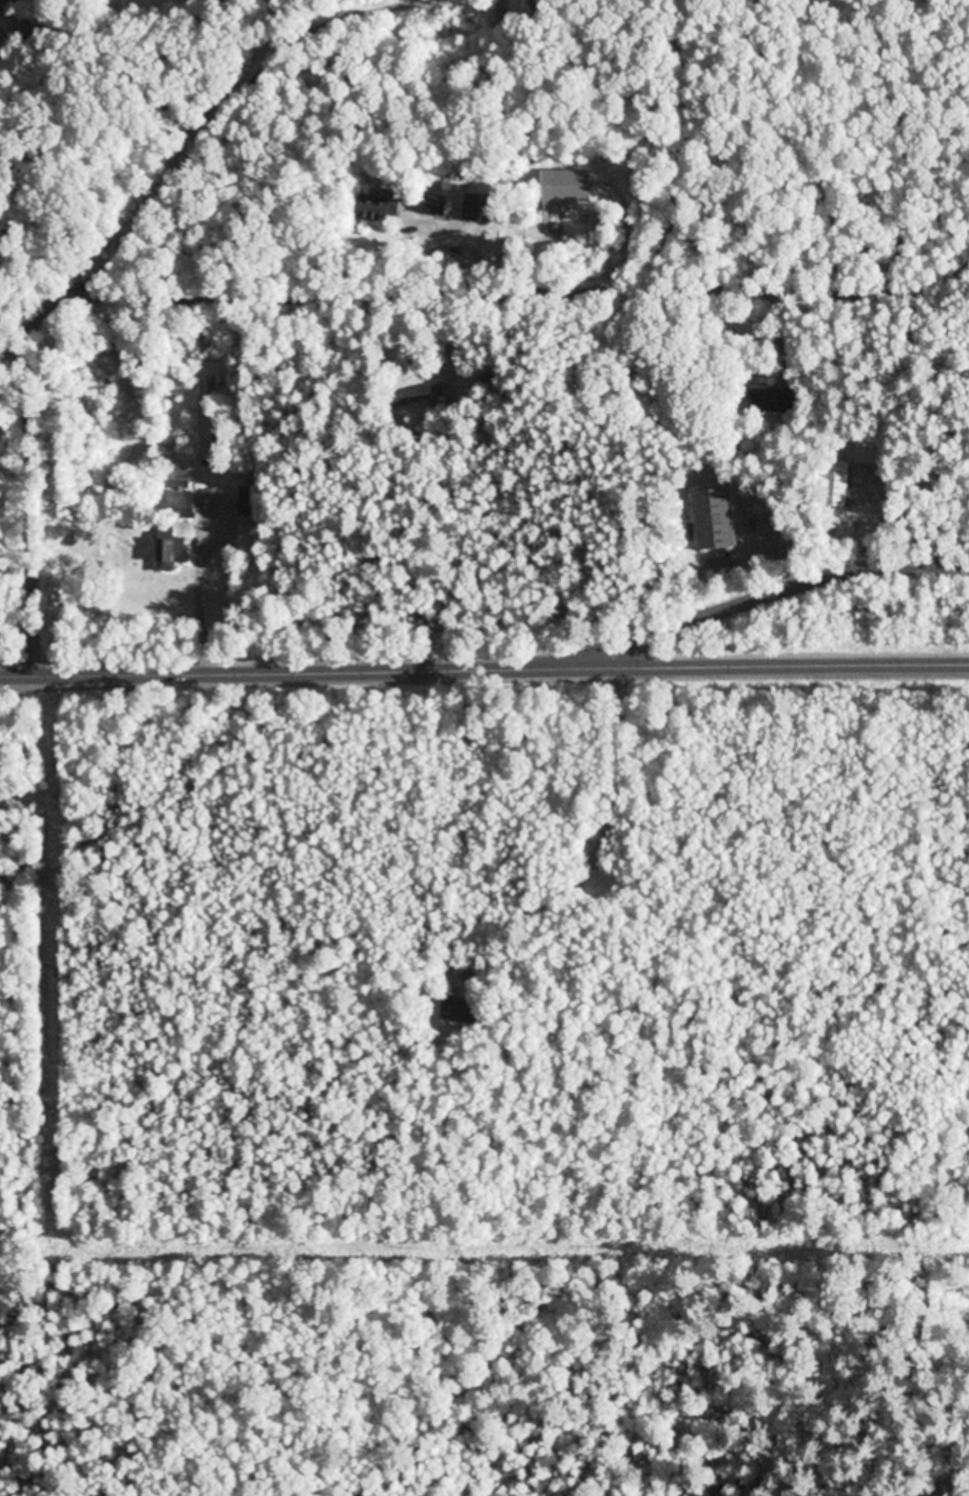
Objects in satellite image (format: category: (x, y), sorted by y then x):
road: (235, 106)
road: (823, 142)
road: (713, 143)
road: (89, 152)
building: (570, 186)
building: (435, 202)
building: (384, 208)
road: (329, 291)
building: (870, 452)
building: (840, 477)
building: (181, 480)
building: (730, 517)
building: (175, 547)
road: (760, 592)
road: (484, 664)

